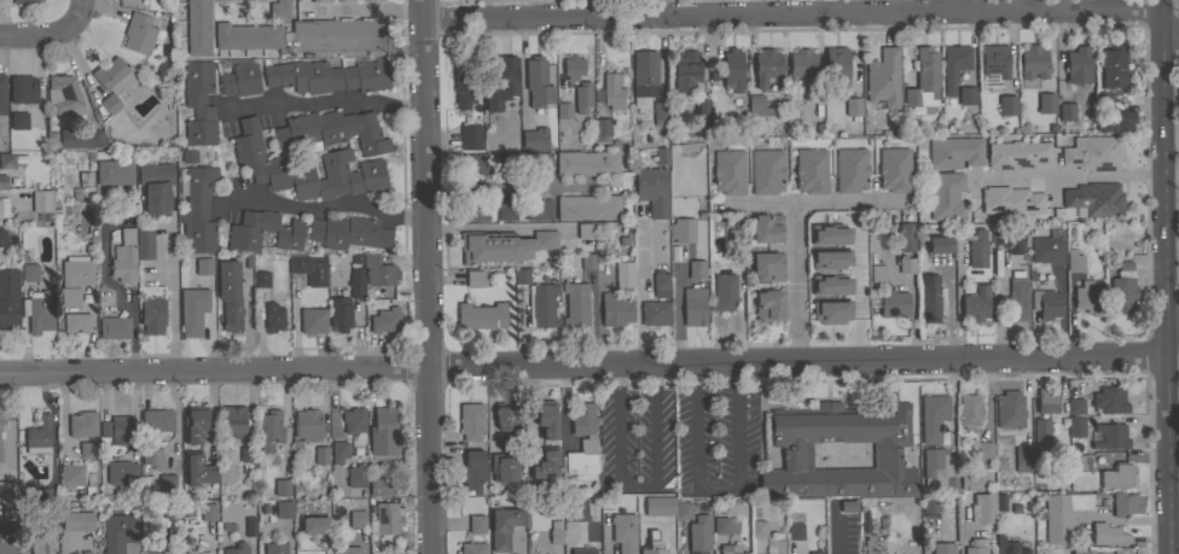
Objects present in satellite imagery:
building: (21, 0)
building: (244, 0)
building: (343, 0)
building: (371, 0)
building: (4, 1)
building: (318, 1)
road: (815, 6)
building: (279, 8)
road: (791, 12)
building: (339, 27)
building: (197, 28)
road: (1169, 33)
building: (140, 34)
road: (50, 35)
building: (249, 37)
road: (365, 46)
building: (957, 57)
building: (1033, 62)
building: (801, 63)
building: (993, 64)
building: (1078, 65)
building: (573, 66)
building: (766, 66)
building: (836, 66)
building: (1111, 66)
building: (732, 70)
building: (686, 71)
building: (644, 74)
building: (326, 76)
building: (883, 78)
building: (240, 80)
building: (923, 80)
building: (114, 81)
building: (538, 82)
building: (503, 83)
building: (614, 88)
building: (23, 89)
building: (463, 91)
building: (2, 94)
building: (966, 94)
building: (64, 95)
building: (582, 95)
building: (1102, 100)
building: (198, 101)
road: (327, 101)
building: (908, 103)
building: (1045, 103)
building: (1007, 105)
building: (759, 106)
building: (853, 106)
building: (563, 110)
building: (689, 111)
building: (1065, 111)
building: (660, 113)
building: (701, 115)
building: (18, 119)
building: (1115, 121)
building: (602, 127)
building: (337, 130)
building: (470, 136)
building: (81, 138)
building: (535, 138)
building: (954, 152)
building: (1093, 153)
building: (1017, 154)
building: (188, 156)
building: (662, 156)
building: (505, 159)
building: (6, 161)
building: (539, 161)
building: (474, 163)
building: (586, 163)
building: (894, 169)
building: (308, 170)
building: (811, 170)
building: (850, 170)
building: (728, 171)
building: (766, 171)
building: (115, 173)
road: (1068, 175)
road: (1171, 179)
building: (2, 181)
building: (156, 186)
building: (82, 187)
road: (519, 187)
building: (652, 189)
building: (945, 196)
building: (1094, 198)
road: (818, 199)
building: (1010, 199)
building: (42, 203)
building: (4, 206)
building: (587, 208)
building: (197, 209)
road: (326, 209)
building: (538, 209)
building: (474, 210)
building: (506, 210)
building: (767, 228)
building: (683, 229)
building: (284, 231)
building: (585, 231)
building: (348, 233)
building: (1069, 233)
building: (906, 237)
building: (2, 238)
building: (734, 238)
building: (1010, 238)
building: (144, 243)
building: (939, 244)
building: (503, 245)
building: (1047, 247)
building: (977, 249)
building: (825, 251)
building: (123, 257)
building: (587, 261)
building: (1074, 261)
building: (906, 264)
building: (203, 266)
building: (1123, 266)
building: (767, 267)
building: (696, 268)
building: (309, 269)
building: (376, 269)
building: (29, 273)
building: (877, 273)
building: (522, 275)
building: (623, 275)
road: (425, 276)
road: (1163, 276)
building: (75, 278)
building: (261, 279)
building: (474, 279)
road: (794, 279)
building: (355, 282)
road: (638, 282)
building: (660, 284)
building: (824, 287)
building: (277, 290)
building: (724, 292)
road: (859, 292)
building: (1122, 293)
building: (228, 295)
building: (930, 297)
building: (1088, 297)
road: (172, 298)
building: (8, 299)
building: (1016, 299)
building: (894, 303)
building: (1045, 303)
building: (575, 304)
building: (976, 304)
building: (541, 305)
building: (693, 305)
building: (768, 305)
building: (39, 309)
building: (614, 310)
building: (192, 311)
building: (339, 313)
building: (655, 313)
building: (824, 314)
building: (152, 315)
building: (481, 316)
road: (674, 316)
building: (272, 317)
building: (384, 320)
building: (312, 321)
building: (76, 322)
building: (114, 327)
road: (1172, 327)
road: (582, 360)
building: (1109, 400)
building: (1046, 401)
road: (565, 402)
building: (1075, 406)
road: (209, 407)
building: (1009, 409)
building: (969, 410)
road: (176, 412)
building: (934, 418)
building: (157, 419)
building: (547, 419)
building: (233, 420)
building: (354, 420)
building: (470, 420)
building: (82, 424)
building: (193, 424)
building: (307, 425)
building: (1039, 426)
building: (1075, 426)
building: (116, 428)
building: (269, 430)
building: (383, 431)
building: (39, 436)
building: (1111, 436)
building: (582, 441)
building: (505, 443)
building: (790, 443)
building: (983, 449)
building: (88, 450)
building: (338, 451)
building: (246, 454)
building: (0, 455)
building: (320, 455)
building: (152, 457)
building: (1022, 459)
building: (1084, 462)
building: (545, 463)
building: (940, 468)
building: (197, 470)
building: (472, 471)
building: (121, 472)
building: (71, 474)
building: (356, 476)
building: (1117, 476)
road: (1173, 476)
building: (971, 482)
building: (167, 483)
building: (379, 486)
building: (281, 488)
building: (7, 489)
road: (634, 490)
road: (718, 490)
building: (25, 491)
building: (930, 503)
building: (1125, 503)
building: (848, 506)
building: (983, 507)
building: (575, 508)
building: (658, 508)
building: (283, 509)
building: (683, 509)
building: (208, 512)
building: (165, 514)
building: (1062, 514)
building: (358, 519)
building: (385, 519)
building: (77, 520)
building: (172, 524)
building: (476, 524)
building: (315, 525)
building: (724, 525)
building: (250, 526)
road: (962, 526)
building: (503, 527)
building: (759, 527)
building: (679, 529)
building: (118, 531)
building: (795, 531)
building: (623, 532)
building: (699, 532)
road: (603, 535)
building: (1108, 535)
building: (556, 536)
building: (6, 537)
building: (39, 537)
road: (838, 540)
building: (652, 544)
building: (976, 546)
building: (173, 548)
building: (237, 548)
building: (275, 548)
building: (472, 548)
building: (942, 548)
building: (1011, 548)
building: (730, 549)
road: (291, 550)
building: (347, 550)
building: (582, 550)
building: (1080, 550)
building: (85, 552)
building: (204, 553)
building: (814, 553)

